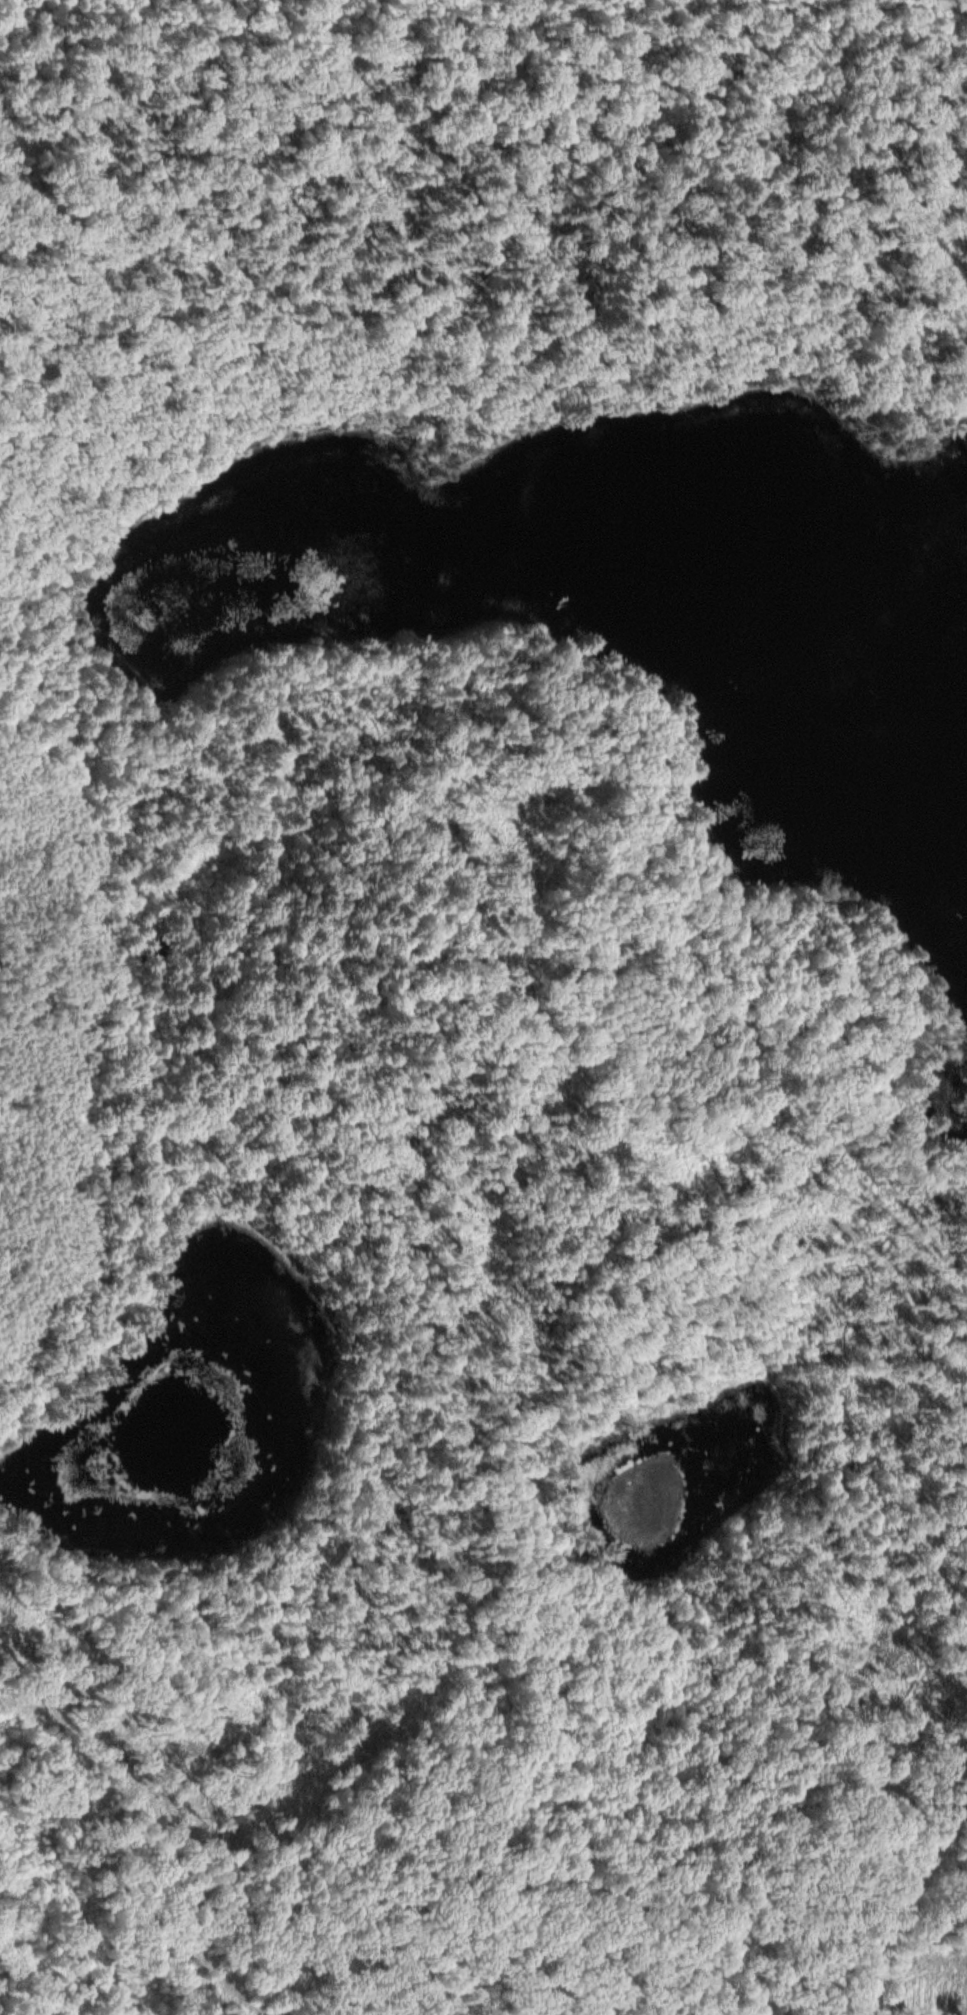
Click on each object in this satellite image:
road: (957, 4)
road: (680, 1081)
road: (745, 1325)
road: (756, 1876)

